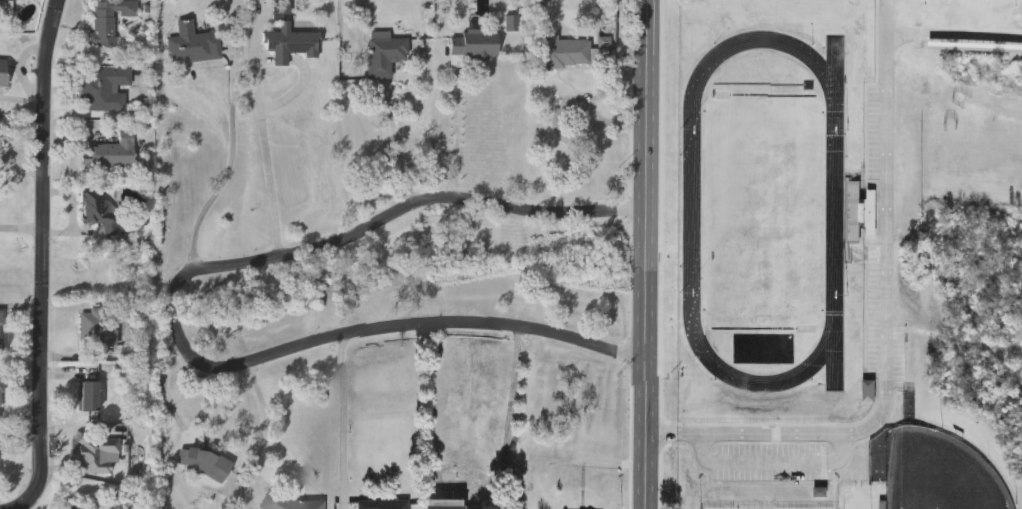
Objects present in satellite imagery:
building: (264, 0)
building: (5, 6)
building: (109, 20)
road: (953, 34)
building: (289, 37)
building: (476, 43)
building: (192, 44)
building: (564, 52)
building: (386, 55)
building: (3, 71)
building: (104, 88)
parking lot: (873, 134)
road: (456, 136)
road: (403, 150)
building: (108, 153)
road: (270, 161)
road: (233, 169)
building: (100, 209)
track: (692, 213)
building: (862, 214)
road: (20, 229)
road: (40, 252)
road: (648, 254)
road: (179, 314)
parking lot: (880, 327)
building: (96, 329)
building: (1, 330)
road: (886, 330)
road: (953, 342)
building: (1, 391)
building: (869, 392)
building: (89, 396)
road: (513, 402)
road: (346, 423)
road: (267, 428)
building: (98, 456)
parking lot: (770, 464)
building: (207, 465)
park: (940, 474)
building: (294, 503)
building: (384, 504)
building: (451, 504)
road: (23, 506)

